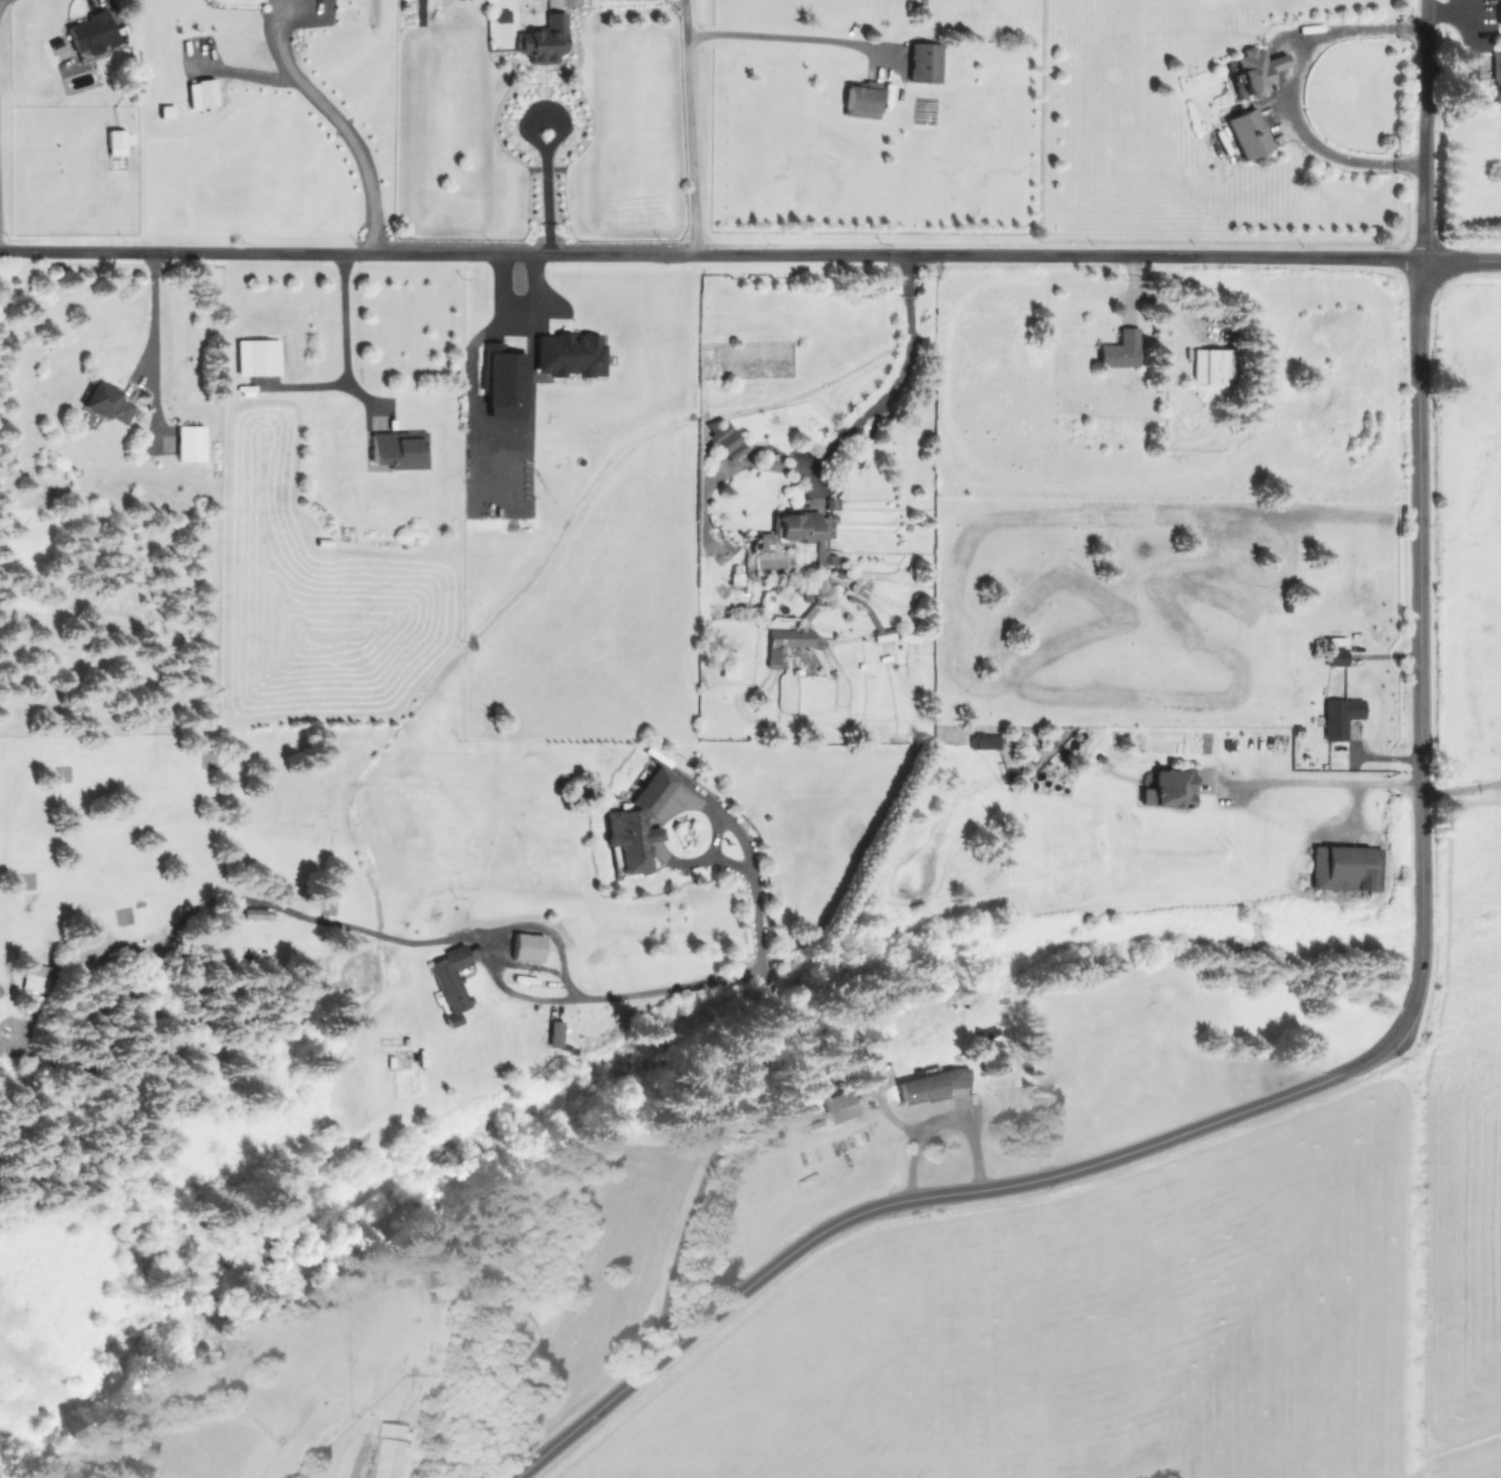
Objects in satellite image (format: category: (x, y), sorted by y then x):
building: (1500, 14)
building: (89, 31)
road: (775, 33)
building: (540, 39)
road: (1288, 90)
building: (200, 93)
building: (854, 96)
road: (339, 124)
road: (687, 127)
road: (1422, 130)
building: (115, 142)
road: (549, 146)
road: (709, 255)
road: (1460, 260)
road: (151, 316)
road: (343, 334)
building: (1120, 350)
building: (569, 354)
building: (256, 357)
building: (1208, 366)
building: (503, 376)
building: (106, 402)
building: (725, 438)
road: (863, 440)
building: (189, 443)
building: (398, 449)
building: (805, 533)
building: (763, 542)
road: (1419, 597)
building: (823, 598)
building: (784, 643)
building: (1334, 656)
building: (1339, 716)
building: (984, 741)
road: (1319, 783)
building: (1167, 788)
building: (635, 824)
road: (653, 835)
road: (715, 835)
road: (699, 859)
building: (1345, 868)
building: (526, 947)
building: (450, 981)
road: (617, 1007)
road: (760, 1039)
building: (931, 1085)
building: (839, 1106)
road: (942, 1123)
road: (977, 1190)
building: (431, 1277)
building: (387, 1450)
road: (357, 1460)

